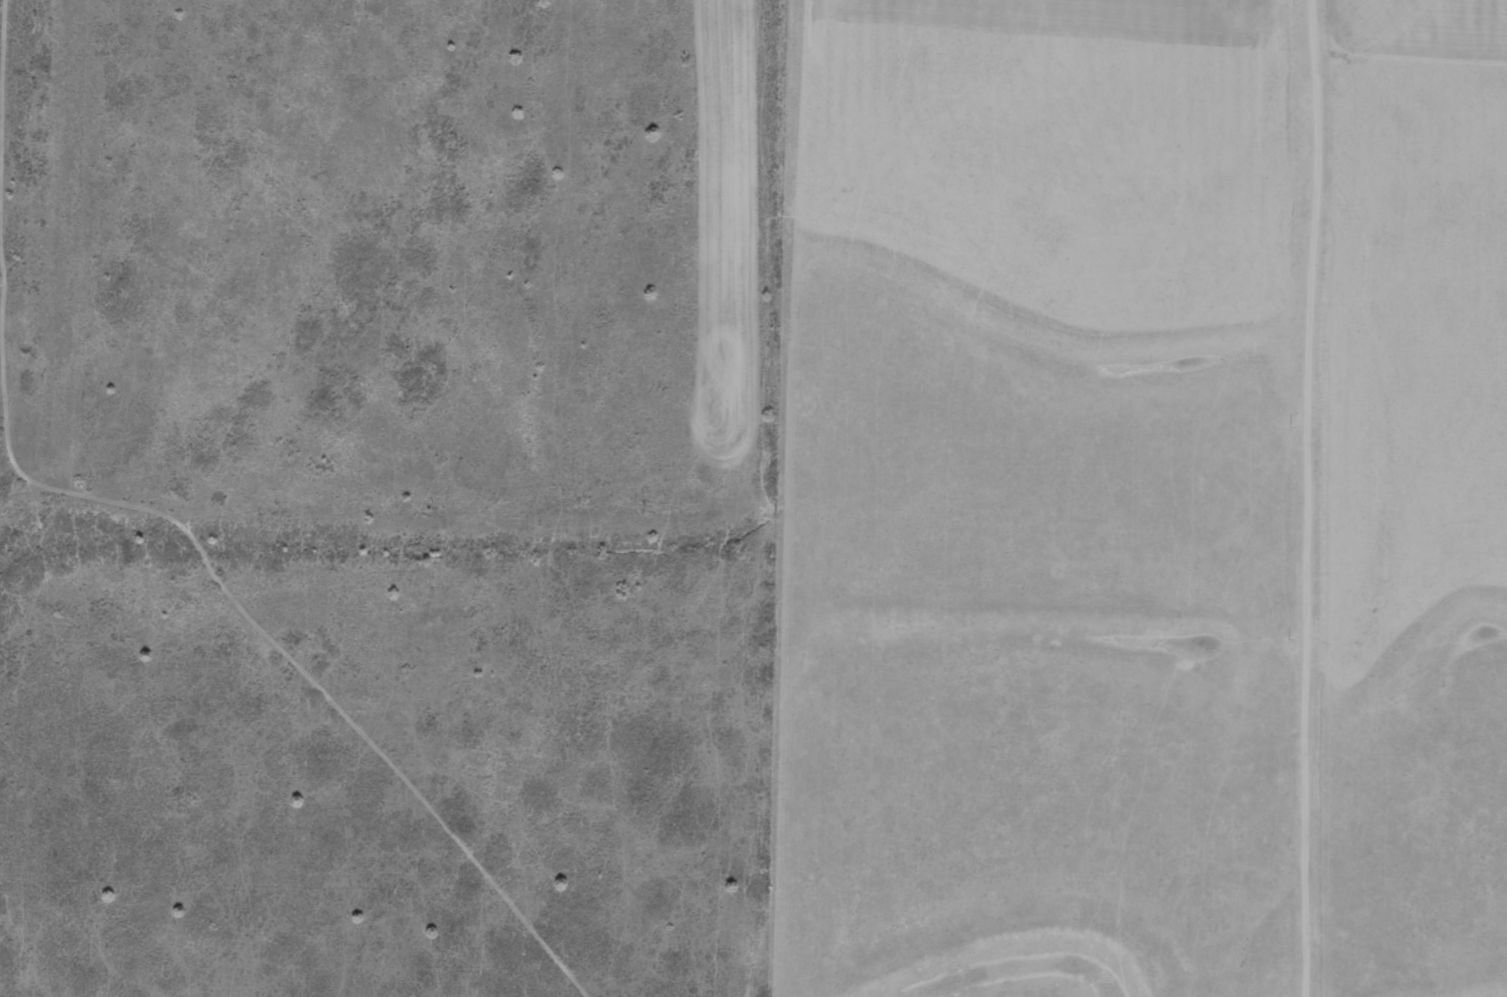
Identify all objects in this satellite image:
road: (1313, 498)
road: (779, 500)

